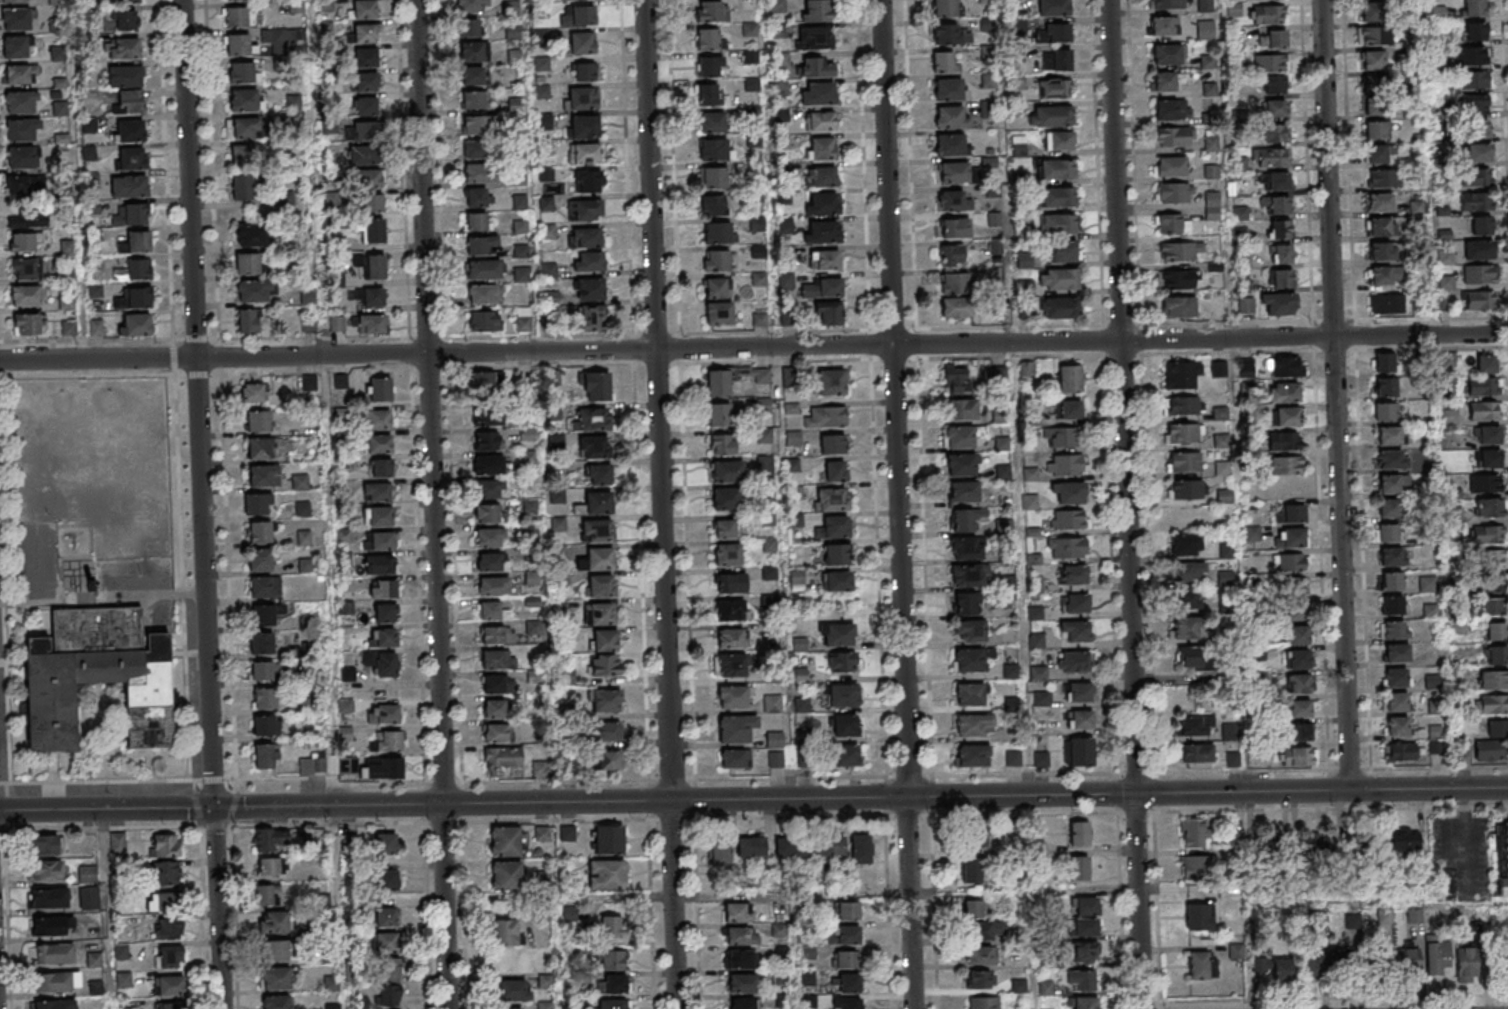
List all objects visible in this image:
building: (236, 0)
building: (11, 1)
building: (128, 1)
building: (1013, 3)
building: (1167, 4)
building: (472, 6)
building: (1205, 6)
building: (1053, 7)
building: (944, 8)
building: (1475, 8)
building: (364, 9)
building: (815, 10)
building: (1370, 10)
building: (709, 11)
building: (1268, 14)
building: (577, 15)
building: (236, 16)
building: (16, 19)
building: (127, 19)
building: (1162, 27)
building: (467, 29)
building: (1205, 30)
building: (1473, 31)
building: (513, 32)
building: (1054, 32)
building: (366, 33)
building: (947, 33)
building: (1374, 35)
building: (707, 38)
building: (814, 38)
building: (1272, 40)
building: (279, 42)
building: (581, 42)
building: (240, 45)
building: (17, 46)
building: (125, 47)
building: (470, 53)
building: (1166, 55)
building: (1473, 55)
building: (365, 57)
building: (514, 57)
building: (1056, 59)
building: (1372, 60)
building: (1207, 61)
building: (944, 62)
building: (1270, 64)
building: (709, 66)
building: (815, 66)
building: (582, 71)
building: (243, 72)
building: (18, 74)
building: (125, 76)
building: (472, 77)
building: (1475, 79)
building: (988, 80)
building: (365, 81)
building: (1164, 81)
building: (1274, 85)
building: (1055, 88)
building: (949, 89)
building: (1209, 90)
building: (818, 93)
building: (707, 94)
building: (1374, 94)
building: (581, 98)
building: (245, 100)
building: (474, 100)
building: (127, 101)
building: (21, 102)
building: (1475, 104)
building: (366, 107)
building: (1274, 109)
building: (1171, 110)
building: (1049, 115)
building: (951, 117)
building: (820, 120)
building: (712, 121)
building: (478, 125)
building: (582, 126)
building: (242, 128)
building: (1475, 128)
building: (22, 129)
building: (1376, 129)
building: (130, 130)
building: (363, 132)
building: (1276, 134)
building: (1174, 136)
building: (1058, 140)
building: (1211, 143)
building: (950, 145)
building: (820, 148)
building: (714, 149)
building: (477, 150)
building: (583, 153)
building: (1478, 153)
building: (1377, 154)
building: (363, 155)
building: (243, 156)
building: (21, 157)
building: (133, 158)
building: (1272, 158)
building: (1170, 166)
building: (1054, 169)
building: (953, 172)
building: (1212, 172)
building: (480, 174)
building: (821, 176)
building: (713, 177)
building: (1386, 178)
building: (1477, 178)
building: (366, 179)
building: (586, 181)
building: (1279, 181)
building: (21, 185)
building: (129, 186)
building: (242, 188)
road: (165, 192)
building: (1175, 192)
building: (477, 197)
building: (1058, 197)
building: (287, 199)
building: (951, 200)
building: (1380, 202)
building: (1476, 202)
building: (372, 203)
building: (822, 203)
building: (713, 204)
building: (1276, 205)
building: (1212, 206)
building: (1416, 207)
building: (585, 208)
building: (131, 214)
building: (27, 220)
building: (477, 222)
building: (1173, 223)
building: (1057, 224)
building: (1481, 225)
building: (954, 227)
building: (1381, 227)
building: (1281, 229)
building: (373, 230)
building: (717, 232)
building: (823, 232)
building: (250, 237)
building: (585, 237)
building: (137, 242)
building: (22, 243)
building: (481, 245)
building: (1479, 250)
building: (1180, 251)
building: (1382, 251)
building: (1064, 252)
building: (1281, 254)
building: (951, 255)
building: (825, 259)
building: (715, 260)
building: (588, 261)
building: (248, 265)
building: (371, 265)
building: (24, 269)
building: (134, 270)
building: (486, 270)
building: (548, 270)
building: (66, 274)
building: (1481, 274)
building: (1386, 275)
building: (1280, 278)
building: (1059, 279)
building: (1175, 279)
building: (954, 284)
building: (821, 287)
building: (717, 288)
building: (255, 291)
building: (26, 295)
road: (192, 295)
building: (483, 295)
building: (370, 297)
building: (134, 298)
building: (551, 298)
building: (1480, 300)
building: (590, 303)
building: (1386, 303)
building: (1245, 304)
building: (1279, 304)
building: (1177, 306)
building: (956, 308)
building: (1059, 308)
building: (719, 313)
building: (829, 313)
building: (759, 318)
building: (523, 319)
building: (486, 321)
building: (247, 322)
building: (368, 323)
building: (29, 324)
building: (137, 324)
building: (337, 324)
building: (68, 327)
building: (96, 327)
road: (754, 347)
building: (1383, 362)
building: (1487, 364)
building: (1284, 366)
building: (1219, 368)
building: (1182, 375)
building: (761, 376)
building: (954, 380)
building: (1070, 380)
building: (341, 381)
building: (718, 382)
building: (831, 382)
building: (309, 383)
building: (485, 383)
building: (594, 385)
building: (1484, 386)
building: (1385, 387)
building: (380, 389)
building: (251, 393)
building: (1284, 393)
road: (1334, 394)
road: (1122, 396)
building: (1183, 405)
building: (962, 409)
building: (1068, 409)
building: (1386, 410)
building: (1485, 410)
building: (720, 414)
building: (488, 416)
building: (827, 416)
building: (1287, 416)
building: (1451, 416)
building: (377, 419)
building: (593, 419)
building: (257, 421)
building: (1183, 433)
building: (530, 434)
building: (1390, 435)
building: (1487, 435)
building: (962, 436)
building: (1061, 437)
building: (488, 440)
building: (1221, 440)
building: (1283, 441)
building: (832, 443)
building: (380, 444)
building: (722, 444)
building: (593, 446)
building: (269, 448)
building: (1392, 459)
building: (1489, 459)
building: (1184, 462)
building: (764, 463)
building: (489, 464)
building: (1065, 464)
building: (960, 465)
building: (1286, 465)
building: (382, 467)
building: (728, 471)
building: (835, 471)
building: (600, 475)
building: (263, 476)
building: (300, 482)
building: (1389, 483)
building: (1485, 483)
building: (489, 488)
building: (1185, 489)
building: (964, 491)
building: (377, 492)
building: (1068, 493)
building: (726, 498)
building: (832, 499)
building: (257, 504)
road: (432, 504)
building: (596, 504)
road: (660, 504)
road: (897, 504)
building: (1491, 507)
building: (1389, 508)
building: (487, 513)
building: (1290, 513)
building: (379, 516)
building: (1069, 519)
building: (962, 520)
building: (559, 524)
road: (684, 526)
building: (724, 526)
building: (834, 527)
building: (596, 531)
building: (259, 532)
building: (1388, 533)
building: (1488, 534)
building: (304, 537)
building: (490, 537)
building: (383, 541)
building: (1186, 545)
building: (1066, 547)
building: (966, 548)
building: (727, 554)
building: (836, 554)
building: (1392, 557)
building: (600, 558)
building: (1034, 558)
building: (1494, 558)
building: (260, 560)
building: (489, 562)
building: (1292, 562)
building: (380, 564)
building: (1188, 572)
building: (1074, 575)
building: (968, 576)
building: (531, 578)
building: (1390, 580)
building: (730, 582)
building: (837, 582)
building: (1035, 584)
building: (1427, 584)
building: (599, 585)
building: (1493, 585)
building: (494, 586)
building: (1294, 586)
building: (265, 587)
building: (383, 588)
building: (1188, 599)
building: (1074, 603)
building: (964, 604)
building: (1393, 605)
building: (1491, 607)
building: (561, 608)
building: (730, 609)
building: (1429, 610)
building: (490, 611)
building: (385, 612)
building: (1297, 612)
building: (599, 613)
building: (263, 614)
building: (1185, 628)
building: (1394, 629)
building: (534, 631)
building: (969, 631)
building: (1074, 631)
building: (1496, 631)
building: (837, 634)
building: (1298, 634)
building: (498, 635)
building: (386, 637)
building: (730, 638)
building: (605, 639)
building: (261, 643)
building: (1396, 652)
building: (1497, 654)
building: (1190, 657)
building: (1298, 659)
building: (496, 660)
building: (968, 660)
building: (1073, 661)
building: (842, 662)
building: (385, 664)
building: (605, 665)
building: (729, 665)
building: (261, 671)
building: (1038, 673)
building: (97, 676)
building: (1395, 677)
building: (1493, 679)
building: (1432, 681)
building: (1298, 683)
building: (498, 684)
building: (1079, 692)
building: (969, 694)
building: (841, 695)
building: (733, 697)
building: (264, 698)
building: (1042, 698)
road: (208, 699)
building: (606, 700)
building: (1396, 701)
building: (773, 703)
building: (1493, 703)
building: (494, 708)
building: (1300, 709)
building: (383, 713)
building: (1080, 719)
building: (264, 725)
building: (847, 725)
building: (975, 725)
building: (1196, 725)
building: (1397, 725)
building: (736, 727)
building: (1497, 729)
building: (609, 731)
building: (1230, 731)
building: (1303, 731)
building: (496, 733)
building: (775, 739)
building: (1435, 739)
building: (389, 740)
building: (1491, 750)
building: (1079, 751)
building: (1400, 751)
building: (1199, 753)
building: (265, 755)
building: (845, 756)
building: (972, 756)
building: (1299, 756)
building: (503, 758)
building: (736, 758)
building: (1013, 758)
building: (776, 759)
building: (1041, 759)
building: (1232, 759)
building: (611, 760)
building: (312, 764)
building: (384, 768)
road: (117, 781)
road: (975, 795)
road: (327, 806)
traffic signals: (213, 808)
road: (106, 809)
building: (1193, 832)
building: (1079, 833)
building: (973, 834)
road: (1465, 837)
building: (271, 839)
building: (607, 839)
building: (1405, 839)
building: (504, 841)
building: (117, 843)
building: (385, 843)
building: (1314, 843)
building: (44, 845)
building: (166, 846)
building: (751, 846)
building: (791, 847)
building: (826, 847)
building: (861, 851)
building: (719, 855)
building: (1501, 857)
building: (269, 867)
building: (1200, 867)
building: (1079, 868)
building: (46, 870)
building: (971, 870)
building: (164, 873)
building: (87, 874)
building: (606, 874)
building: (505, 876)
building: (387, 880)
road: (677, 895)
building: (264, 896)
building: (49, 898)
road: (1137, 901)
building: (163, 902)
building: (1086, 905)
road: (217, 908)
building: (973, 908)
road: (107, 909)
building: (848, 910)
building: (737, 911)
building: (386, 916)
building: (1199, 917)
building: (1413, 918)
building: (274, 923)
building: (613, 926)
building: (1086, 926)
building: (49, 927)
building: (168, 928)
building: (778, 929)
building: (985, 929)
building: (506, 932)
building: (843, 934)
building: (738, 935)
building: (386, 942)
road: (795, 951)
building: (276, 952)
building: (1083, 952)
building: (51, 955)
building: (979, 955)
building: (1438, 956)
building: (169, 957)
building: (740, 958)
building: (845, 959)
building: (1407, 959)
building: (614, 960)
building: (1314, 960)
building: (521, 961)
building: (1351, 962)
building: (1466, 964)
building: (1202, 965)
building: (389, 967)
building: (273, 978)
building: (1079, 979)
building: (979, 980)
building: (57, 983)
building: (613, 983)
building: (742, 983)
building: (848, 983)
building: (330, 984)
building: (169, 987)
building: (513, 990)
building: (389, 995)
road: (1334, 998)
building: (1082, 1002)
building: (276, 1003)
building: (746, 1003)
building: (848, 1003)
building: (55, 1004)
building: (613, 1004)
road: (1160, 1005)
building: (167, 1006)

